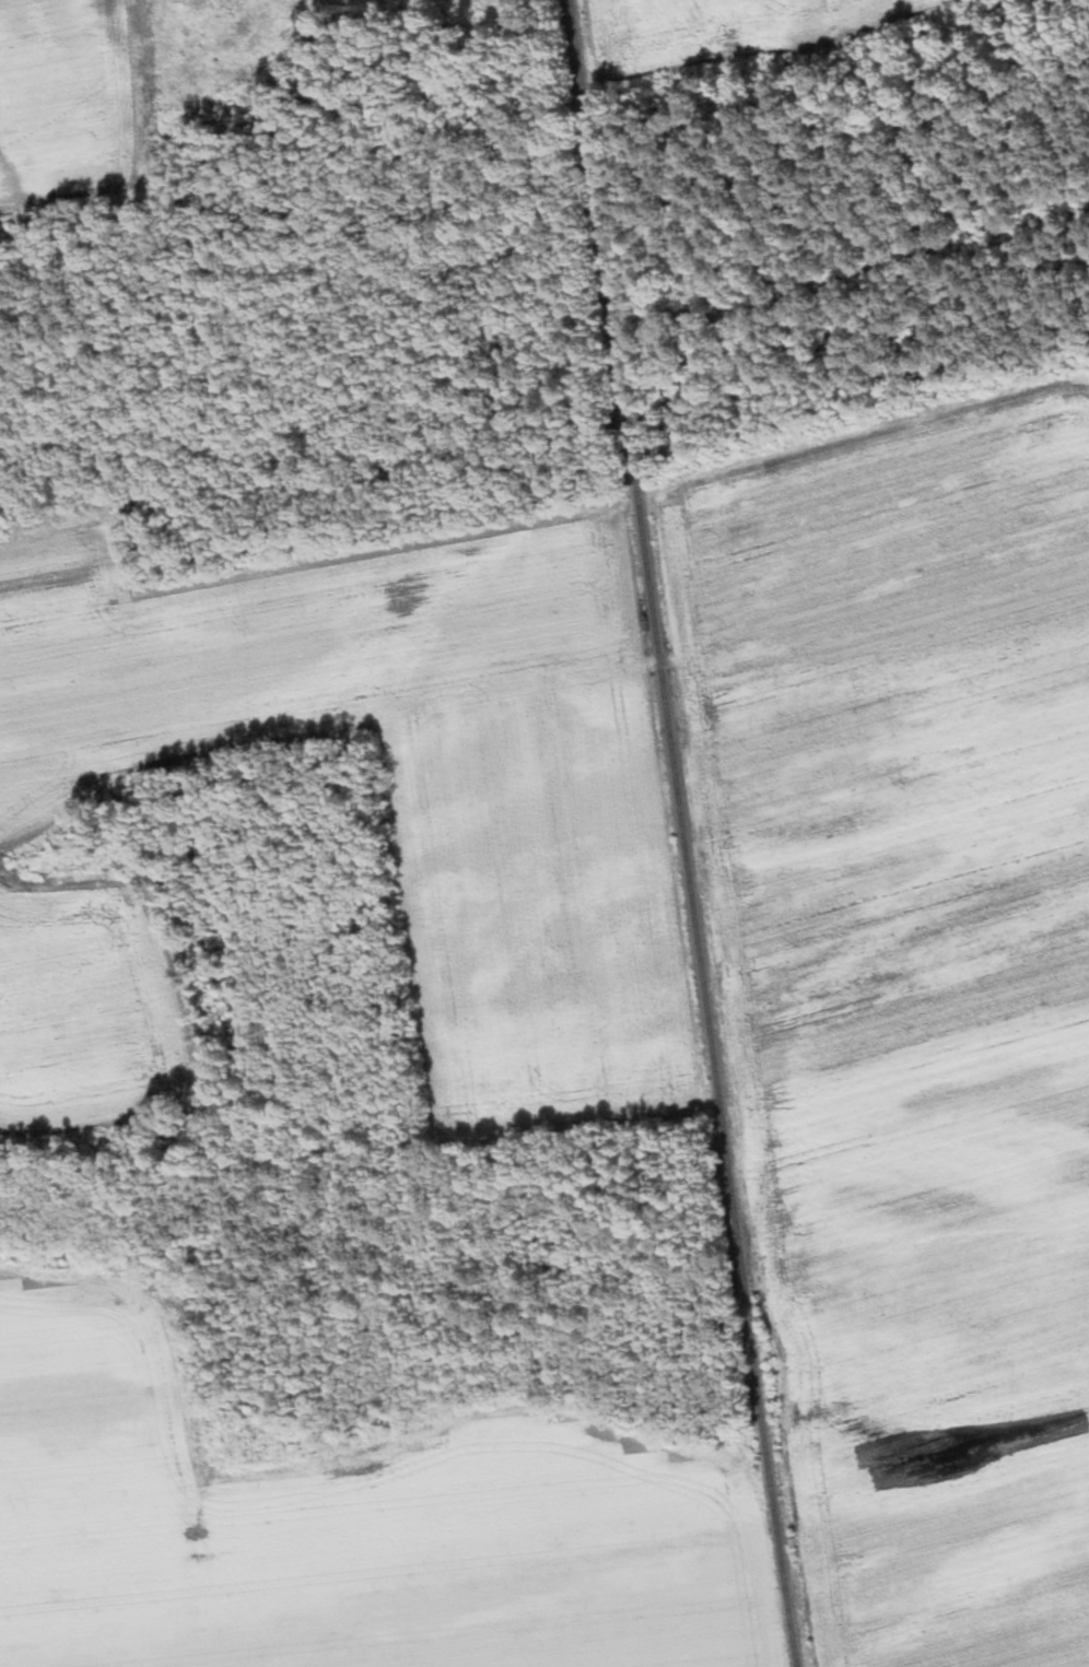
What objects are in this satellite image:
railway: (670, 834)

